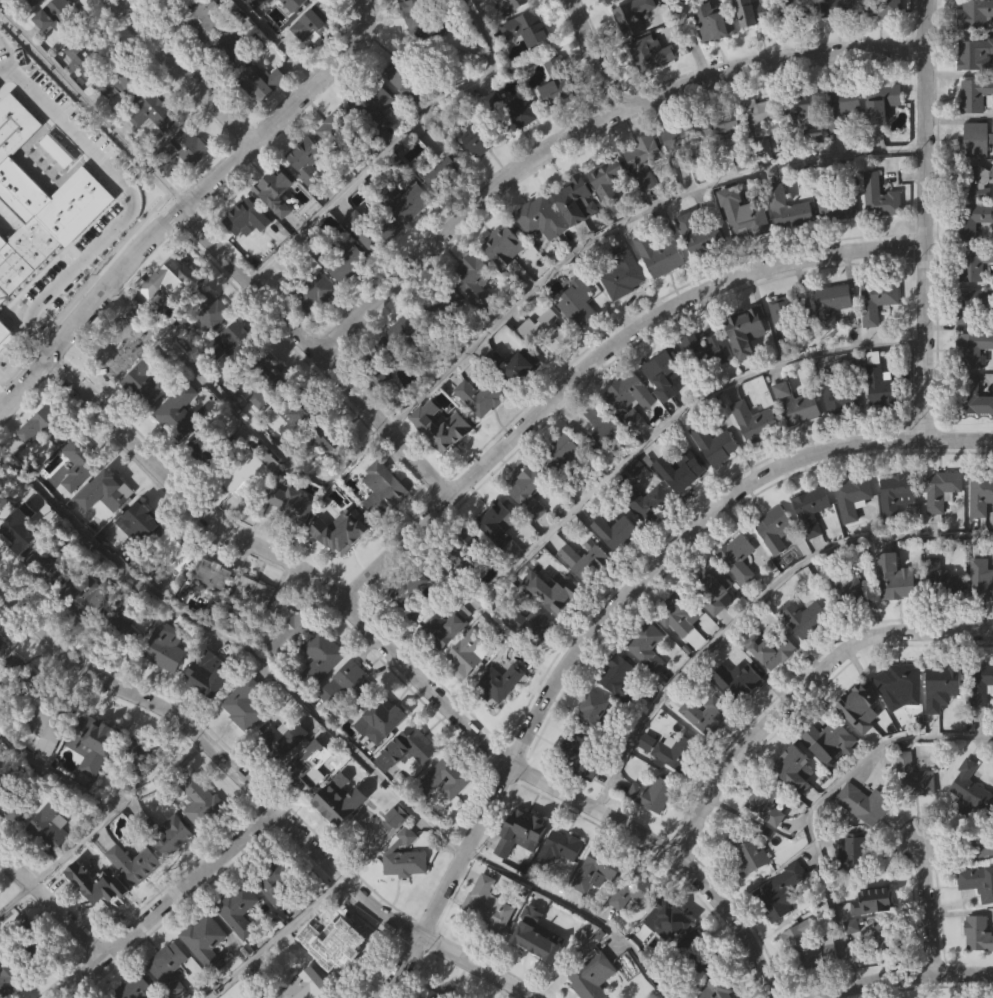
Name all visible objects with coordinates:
building: (608, 0)
building: (33, 2)
building: (294, 3)
building: (509, 6)
building: (880, 7)
building: (834, 8)
building: (794, 9)
building: (752, 12)
building: (976, 13)
building: (59, 14)
building: (634, 14)
building: (203, 19)
building: (423, 20)
building: (715, 20)
building: (316, 24)
building: (527, 27)
road: (278, 39)
road: (689, 40)
building: (232, 47)
building: (91, 51)
building: (652, 52)
building: (973, 53)
road: (595, 55)
road: (185, 71)
building: (407, 74)
building: (123, 78)
building: (261, 81)
building: (560, 81)
building: (976, 94)
building: (884, 100)
building: (372, 103)
road: (94, 104)
building: (845, 104)
building: (805, 109)
building: (156, 111)
building: (510, 112)
building: (762, 118)
building: (14, 124)
road: (587, 128)
building: (725, 129)
building: (341, 132)
building: (684, 139)
building: (975, 140)
building: (485, 141)
road: (391, 142)
building: (186, 147)
building: (645, 159)
building: (308, 160)
building: (447, 174)
building: (973, 179)
building: (615, 181)
building: (275, 191)
road: (135, 193)
building: (881, 196)
building: (576, 199)
building: (407, 200)
building: (836, 200)
road: (190, 201)
building: (790, 208)
building: (249, 215)
building: (542, 215)
building: (746, 216)
road: (926, 219)
building: (972, 220)
road: (624, 222)
building: (373, 229)
building: (700, 235)
building: (504, 244)
building: (24, 251)
building: (660, 255)
building: (342, 259)
building: (971, 263)
building: (624, 273)
building: (475, 278)
building: (171, 279)
building: (309, 288)
building: (879, 298)
building: (441, 300)
building: (581, 302)
building: (833, 303)
building: (973, 303)
building: (204, 312)
building: (789, 314)
building: (745, 329)
building: (5, 331)
building: (545, 332)
building: (235, 341)
building: (114, 348)
building: (973, 348)
building: (708, 351)
road: (317, 352)
road: (597, 357)
building: (381, 359)
building: (516, 364)
building: (663, 371)
building: (270, 377)
building: (146, 380)
building: (882, 386)
building: (632, 391)
building: (839, 392)
building: (483, 395)
building: (973, 396)
building: (798, 404)
building: (299, 405)
building: (178, 411)
road: (239, 412)
building: (757, 421)
building: (45, 425)
building: (445, 427)
building: (605, 430)
building: (329, 440)
building: (715, 443)
road: (641, 447)
building: (212, 450)
building: (559, 456)
building: (0, 461)
building: (78, 462)
building: (255, 468)
building: (679, 468)
building: (39, 471)
building: (0, 475)
building: (383, 489)
building: (943, 489)
building: (106, 490)
building: (531, 491)
building: (898, 494)
building: (981, 494)
building: (854, 496)
building: (3, 500)
building: (649, 502)
building: (292, 504)
building: (812, 508)
building: (143, 520)
building: (498, 525)
building: (348, 527)
building: (19, 528)
building: (775, 528)
building: (381, 532)
building: (618, 532)
building: (938, 532)
building: (104, 534)
building: (528, 535)
building: (895, 536)
building: (851, 539)
building: (979, 539)
building: (649, 544)
building: (291, 545)
building: (178, 550)
building: (810, 551)
building: (469, 554)
building: (739, 557)
building: (586, 560)
building: (52, 565)
building: (139, 565)
building: (495, 565)
building: (218, 571)
building: (772, 571)
building: (342, 572)
building: (20, 573)
building: (614, 573)
building: (982, 579)
building: (897, 580)
building: (942, 581)
building: (714, 587)
building: (171, 588)
building: (847, 589)
building: (557, 592)
building: (100, 594)
building: (408, 595)
building: (249, 597)
building: (737, 600)
building: (584, 601)
road: (750, 604)
building: (677, 612)
road: (607, 615)
building: (806, 616)
building: (214, 617)
building: (893, 620)
building: (938, 621)
building: (118, 622)
building: (980, 622)
building: (531, 623)
building: (447, 627)
building: (289, 630)
building: (714, 630)
building: (409, 631)
building: (847, 633)
road: (238, 640)
building: (648, 643)
building: (3, 644)
building: (166, 648)
building: (771, 651)
building: (473, 652)
building: (322, 656)
building: (679, 659)
building: (802, 660)
building: (530, 666)
building: (288, 668)
building: (208, 673)
road: (413, 673)
building: (442, 673)
building: (20, 674)
building: (620, 676)
building: (945, 677)
building: (500, 683)
building: (739, 683)
building: (898, 683)
building: (347, 686)
building: (979, 687)
building: (645, 688)
road: (801, 690)
building: (769, 692)
building: (466, 695)
building: (320, 698)
building: (244, 707)
building: (858, 707)
building: (592, 709)
building: (707, 714)
building: (208, 716)
building: (380, 719)
building: (617, 720)
building: (50, 721)
building: (735, 722)
building: (946, 722)
building: (499, 724)
building: (342, 726)
building: (980, 726)
building: (900, 728)
building: (831, 737)
building: (90, 742)
building: (280, 742)
building: (243, 746)
building: (408, 747)
building: (577, 749)
building: (858, 750)
building: (592, 752)
building: (677, 753)
building: (931, 754)
building: (704, 757)
building: (136, 763)
building: (379, 764)
building: (305, 767)
building: (793, 767)
building: (2, 769)
building: (45, 771)
building: (444, 779)
building: (914, 781)
building: (280, 782)
building: (828, 782)
building: (92, 786)
building: (971, 789)
building: (405, 790)
road: (263, 794)
building: (653, 794)
road: (97, 797)
building: (341, 797)
building: (580, 797)
road: (820, 800)
building: (199, 801)
building: (767, 801)
building: (865, 803)
building: (18, 804)
building: (306, 807)
building: (794, 811)
building: (911, 819)
building: (443, 821)
building: (520, 827)
building: (49, 828)
building: (168, 835)
building: (650, 836)
building: (339, 841)
building: (980, 843)
building: (200, 844)
building: (560, 847)
building: (764, 847)
building: (859, 851)
building: (12, 852)
building: (750, 852)
building: (405, 857)
building: (134, 863)
building: (48, 869)
building: (599, 869)
building: (519, 874)
building: (173, 878)
building: (977, 879)
building: (275, 888)
building: (634, 888)
building: (557, 890)
building: (101, 891)
road: (17, 893)
building: (745, 895)
building: (851, 895)
building: (402, 897)
road: (55, 902)
building: (776, 902)
building: (875, 902)
road: (168, 903)
building: (489, 904)
building: (127, 906)
road: (927, 907)
building: (238, 909)
road: (579, 909)
building: (594, 913)
building: (666, 918)
building: (274, 924)
building: (99, 931)
building: (778, 934)
building: (979, 934)
building: (536, 936)
building: (628, 936)
building: (885, 937)
road: (274, 938)
building: (205, 941)
building: (810, 945)
building: (343, 946)
building: (486, 946)
building: (237, 951)
building: (692, 952)
building: (666, 963)
building: (169, 966)
building: (850, 969)
building: (13, 971)
building: (880, 975)
building: (591, 976)
road: (905, 976)
building: (533, 977)
building: (976, 977)
building: (202, 978)
building: (139, 985)
building: (303, 985)
building: (344, 985)
building: (717, 986)
building: (808, 986)
building: (693, 989)
building: (170, 992)
building: (435, 995)

